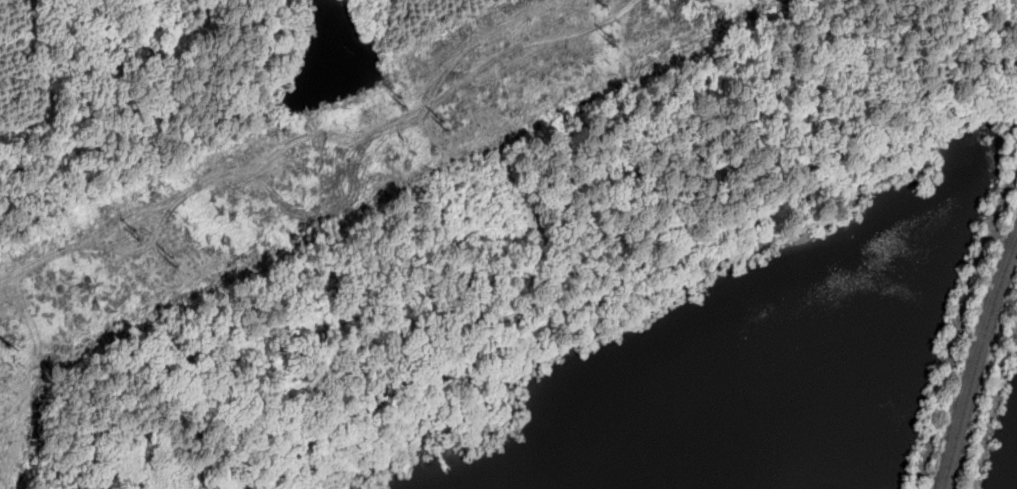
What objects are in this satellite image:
power tower: (614, 36)
power tower: (401, 97)
power tower: (446, 127)
power tower: (134, 227)
road: (578, 259)
power tower: (172, 261)
power tower: (23, 341)
railway: (976, 364)

